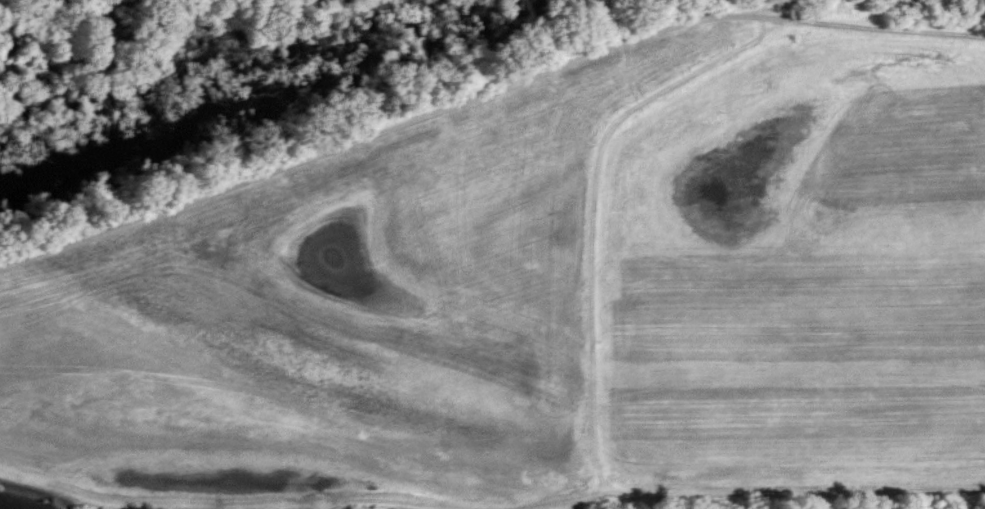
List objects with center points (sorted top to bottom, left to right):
road: (754, 5)
road: (418, 117)

